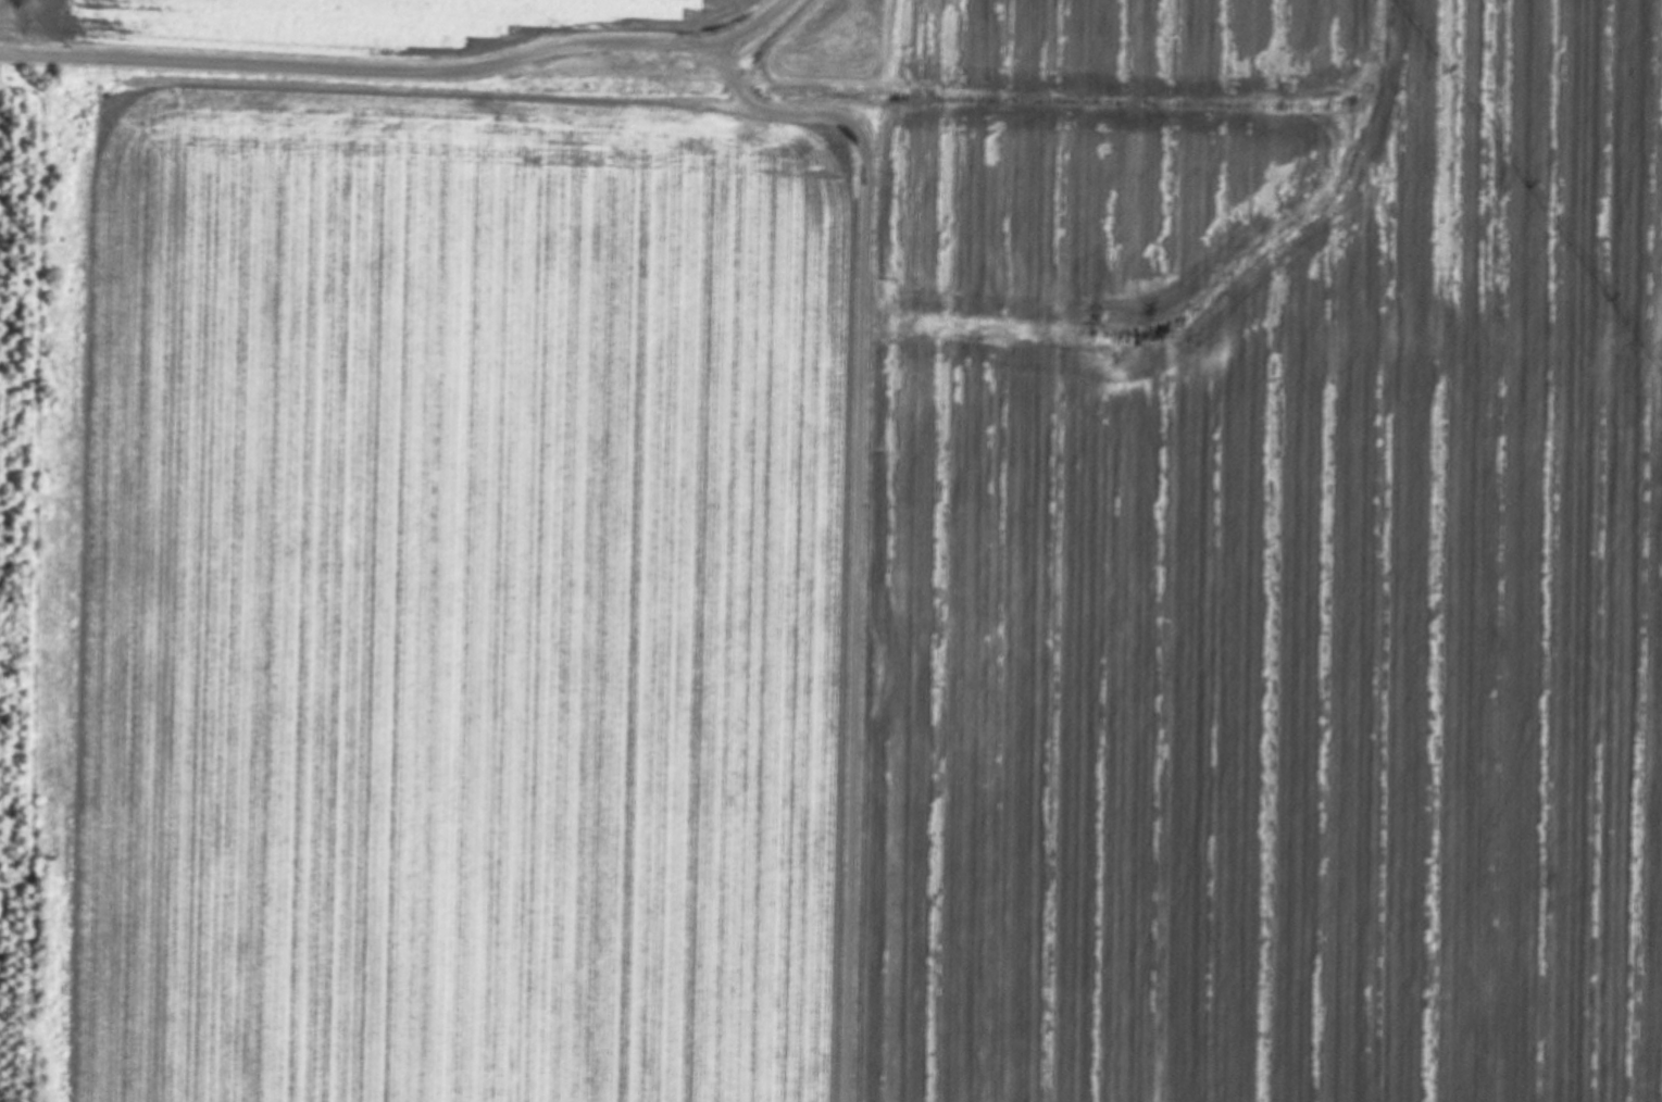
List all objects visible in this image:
road: (402, 72)
road: (857, 525)

